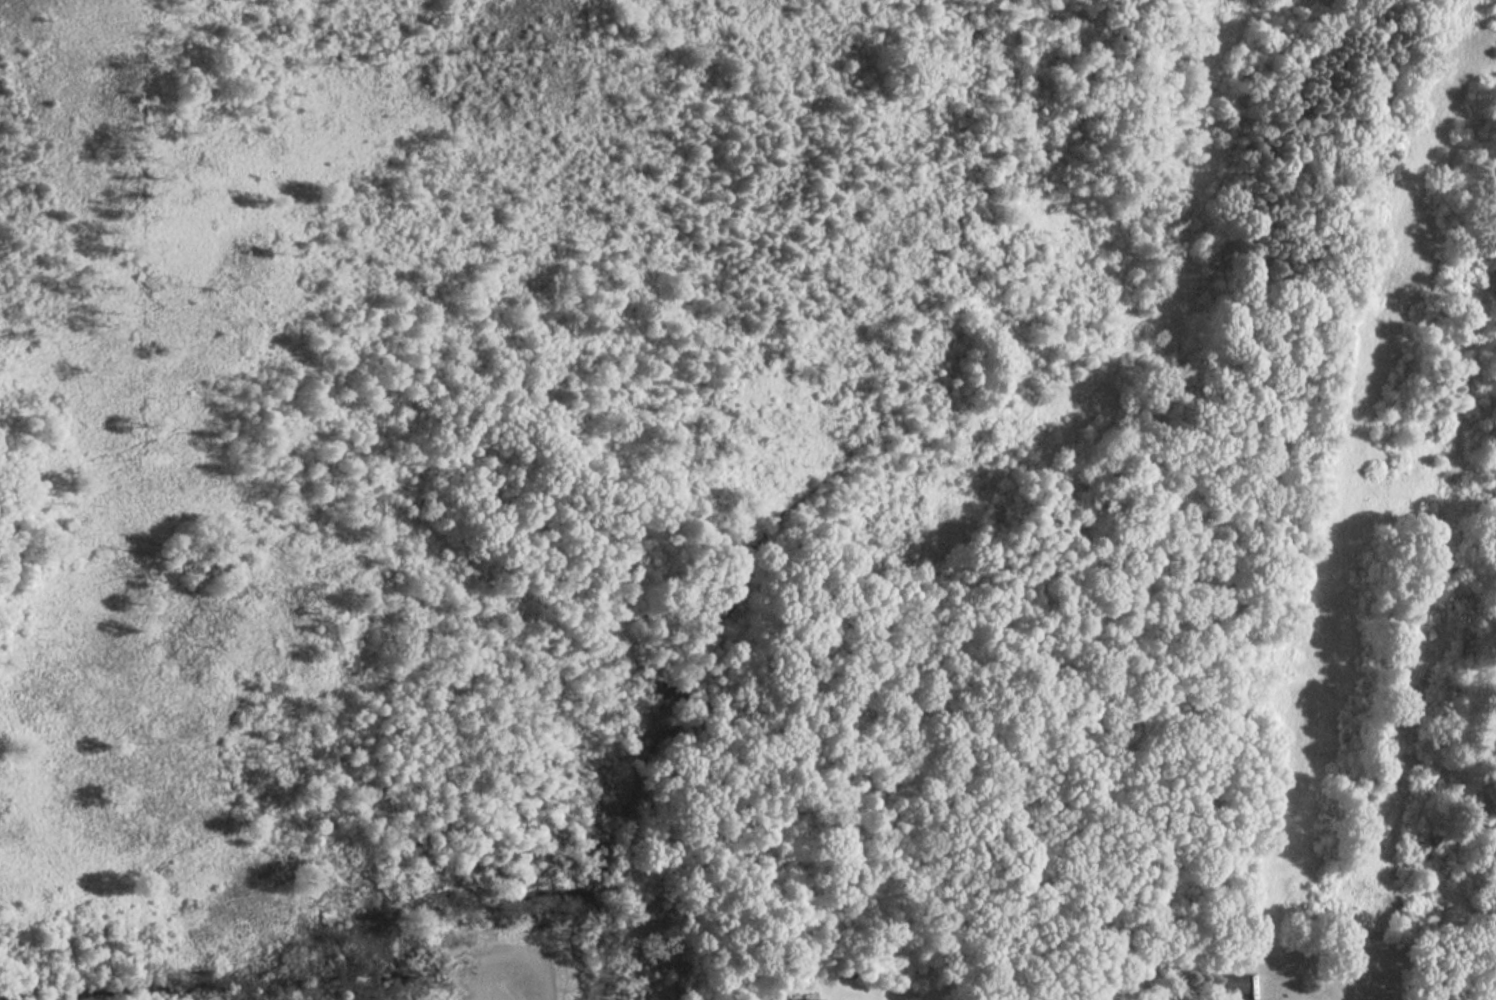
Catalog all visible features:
park: (795, 328)
road: (1484, 973)
building: (1233, 983)
building: (811, 998)

